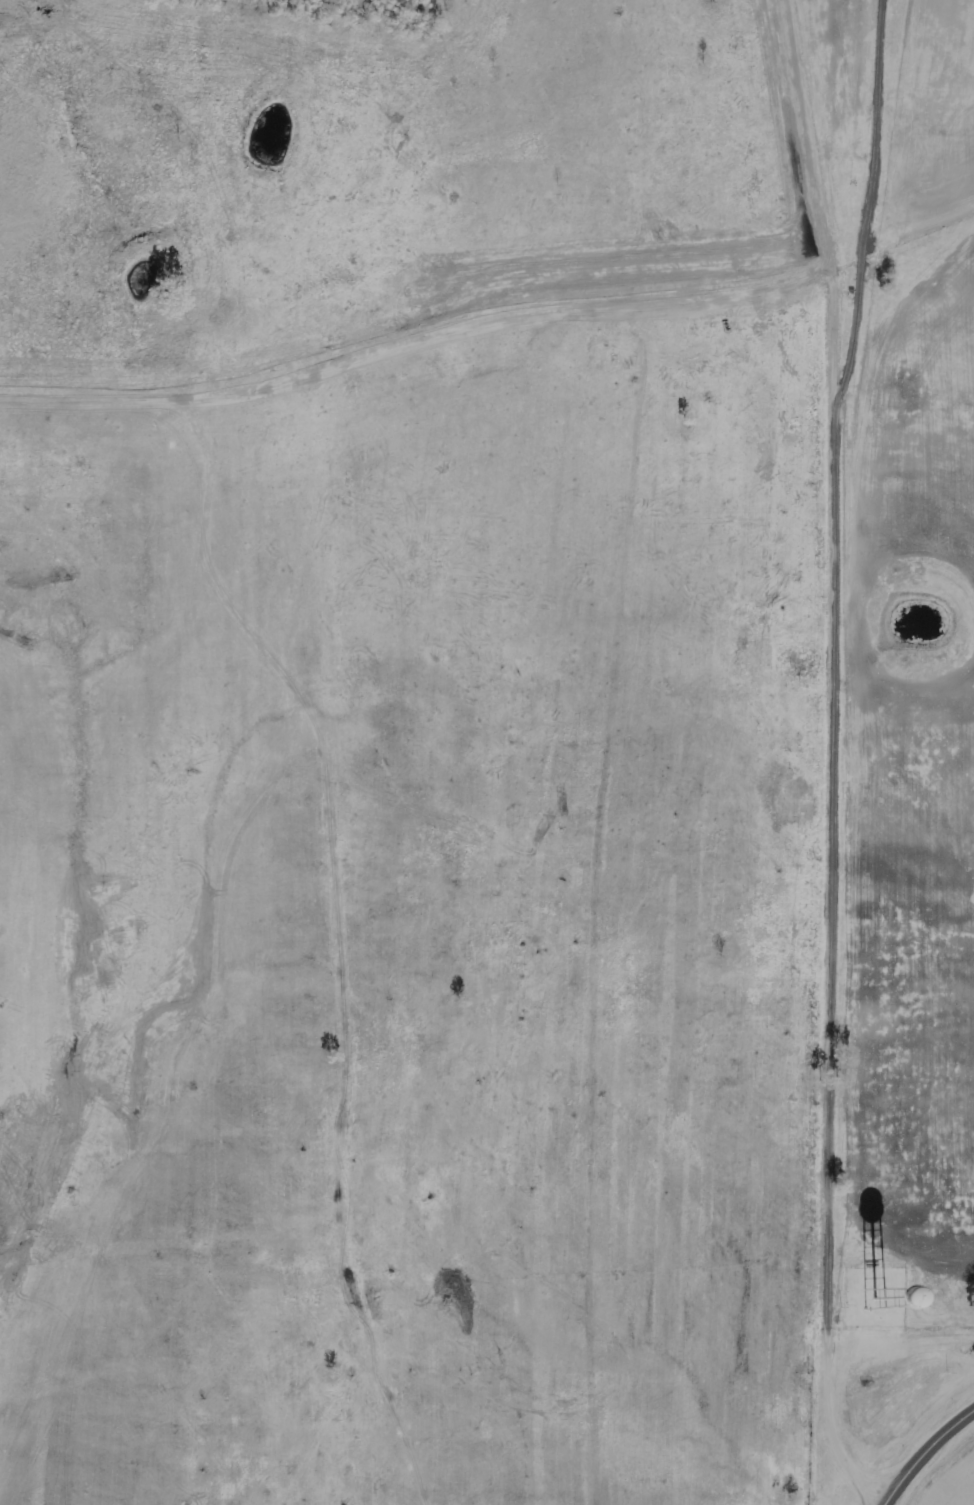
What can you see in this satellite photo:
road: (924, 1454)

